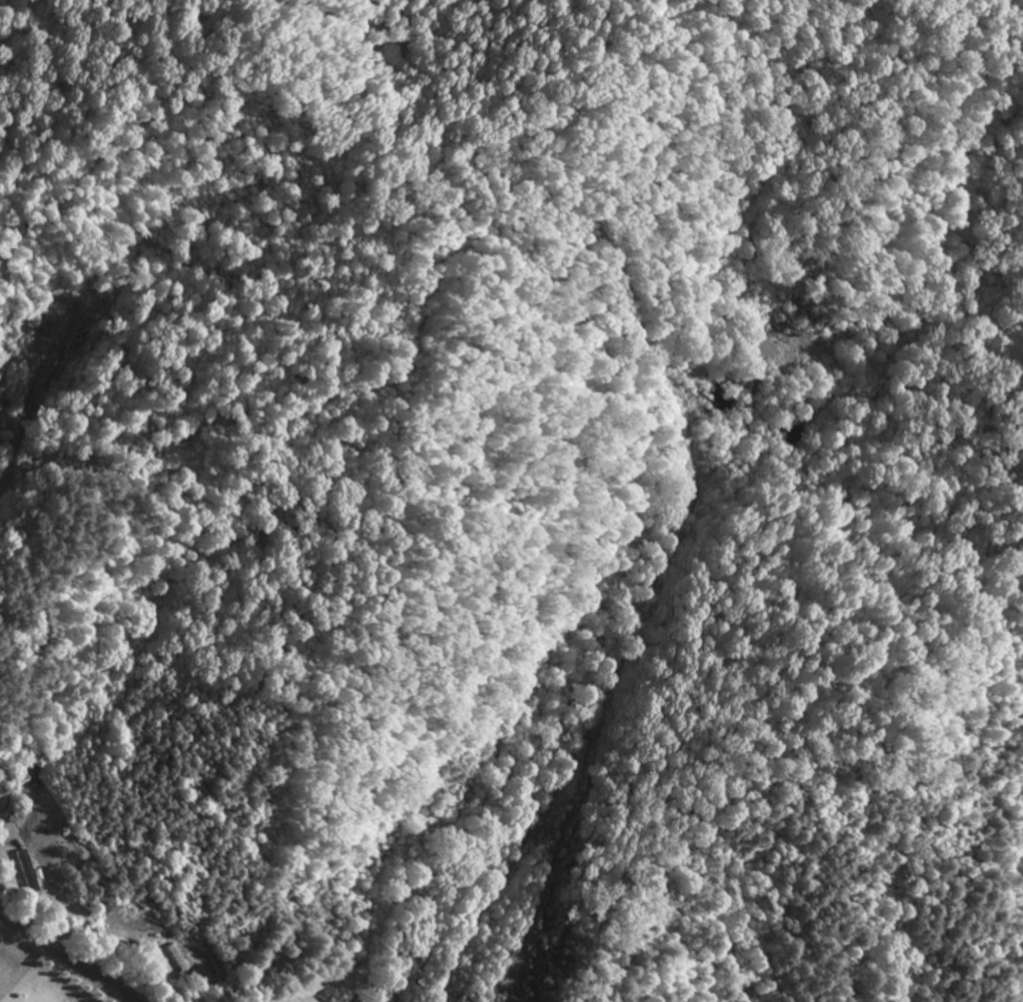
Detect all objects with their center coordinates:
building: (25, 871)
road: (70, 959)
building: (180, 961)

